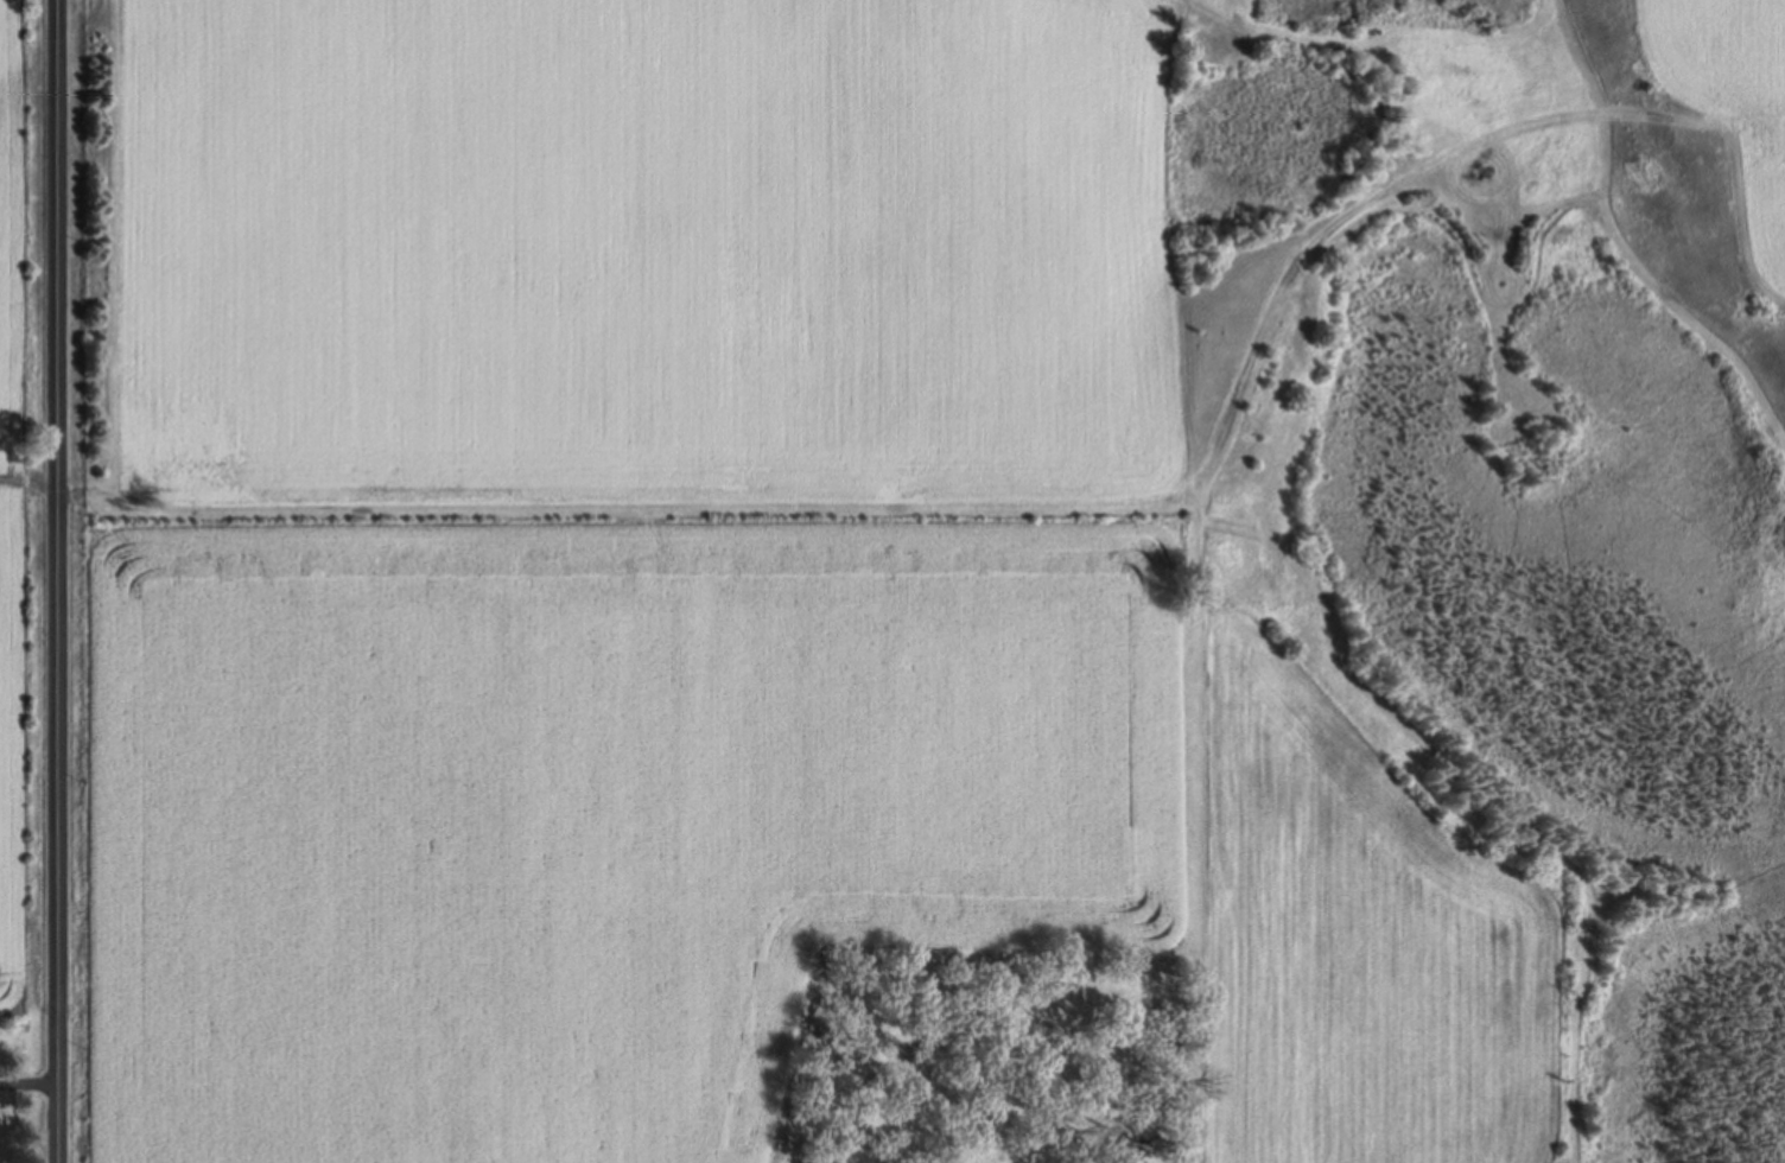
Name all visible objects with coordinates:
road: (55, 581)

